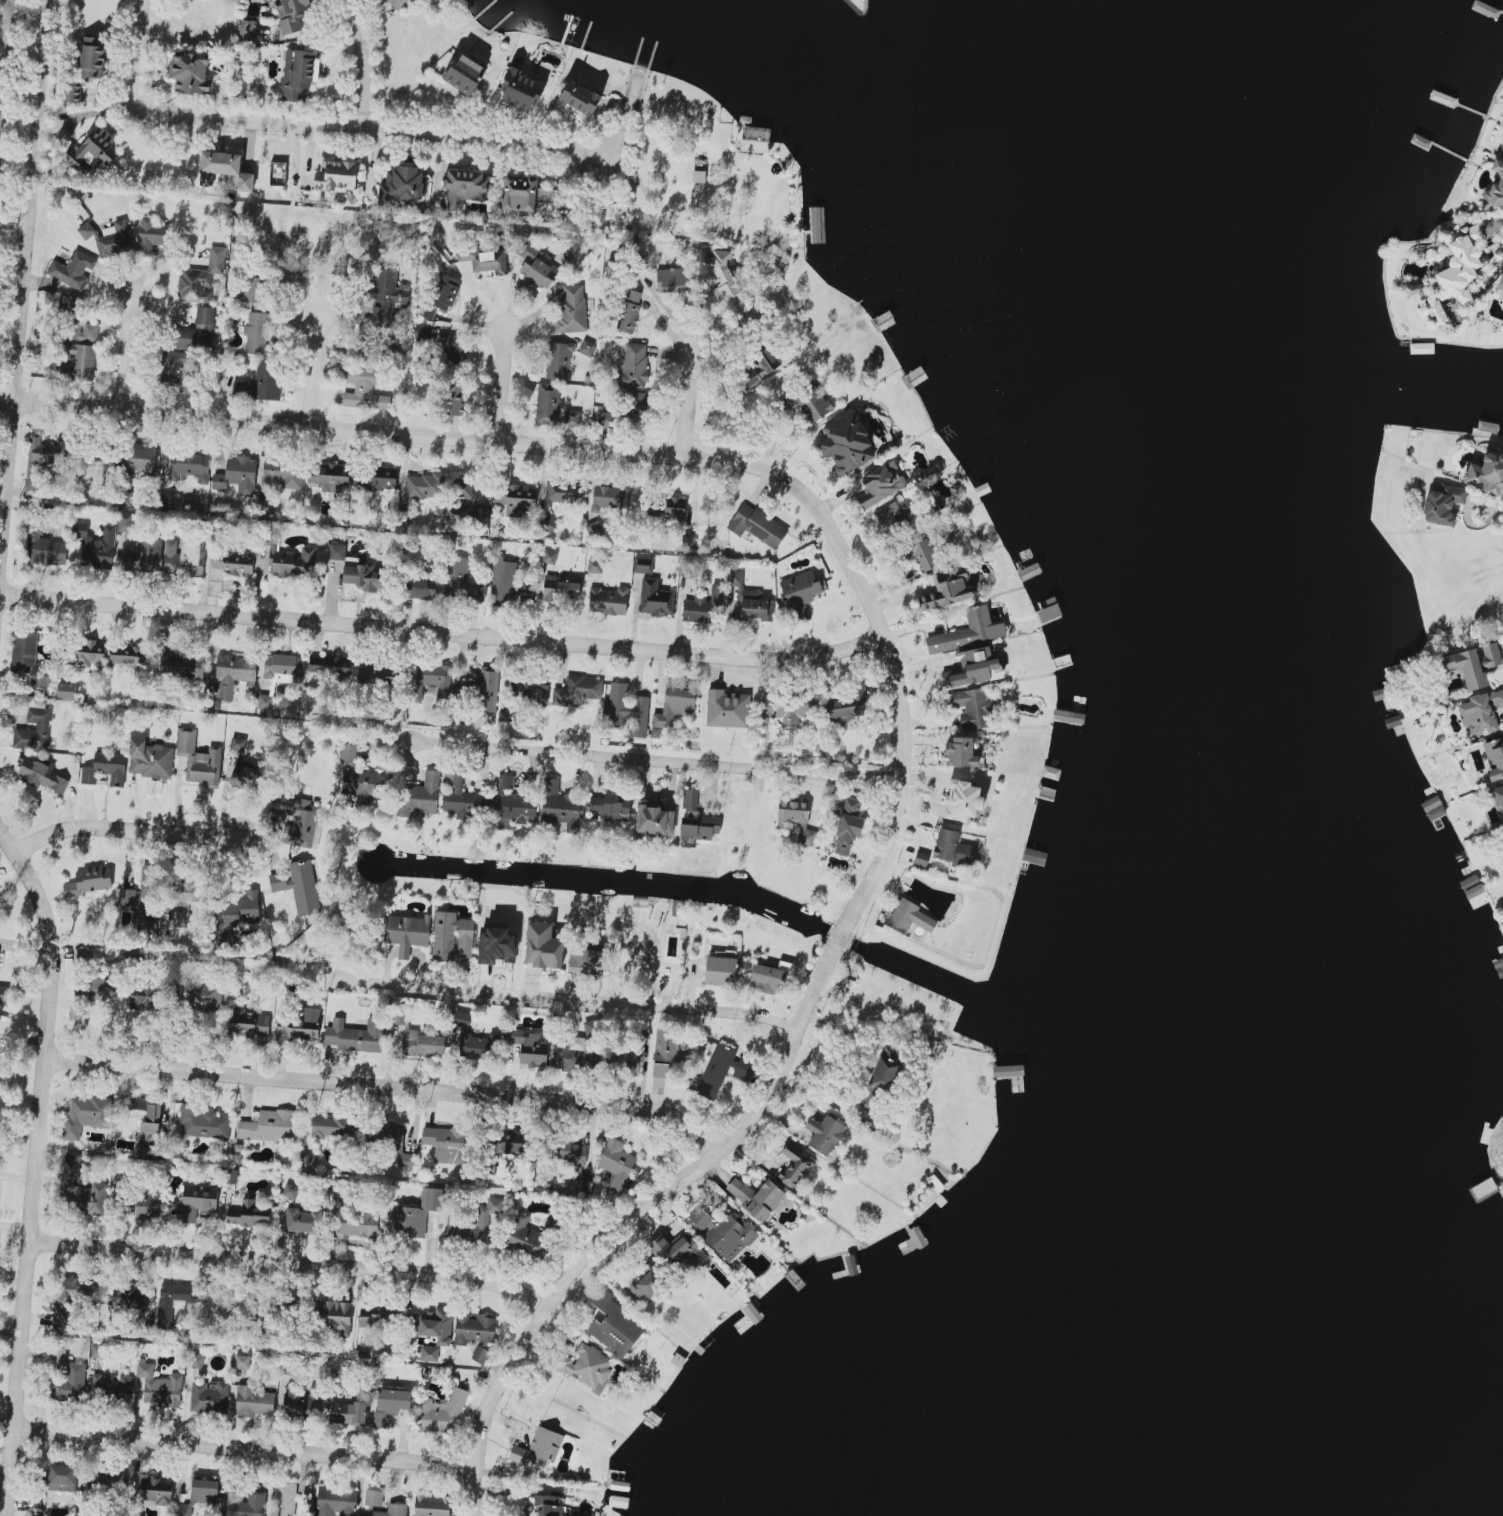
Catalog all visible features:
building: (400, 4)
building: (292, 14)
building: (247, 30)
road: (3, 44)
road: (139, 56)
building: (92, 58)
road: (363, 66)
building: (190, 72)
building: (464, 74)
building: (521, 89)
building: (73, 92)
building: (580, 97)
road: (372, 135)
building: (92, 150)
building: (1502, 152)
building: (224, 170)
building: (336, 175)
building: (403, 185)
building: (463, 187)
building: (1493, 190)
building: (523, 193)
building: (86, 230)
building: (151, 234)
building: (116, 239)
building: (484, 260)
building: (534, 265)
building: (1466, 265)
building: (72, 269)
building: (200, 278)
building: (672, 279)
road: (25, 284)
building: (729, 288)
building: (1502, 291)
building: (245, 293)
building: (441, 294)
building: (387, 296)
building: (571, 310)
building: (626, 312)
building: (198, 328)
building: (83, 332)
building: (256, 333)
building: (421, 333)
building: (449, 350)
road: (126, 354)
building: (558, 360)
building: (75, 362)
building: (634, 364)
building: (173, 370)
road: (313, 370)
building: (260, 382)
road: (500, 385)
building: (364, 389)
building: (454, 396)
road: (689, 401)
building: (806, 401)
building: (547, 403)
building: (635, 410)
building: (572, 417)
building: (606, 418)
building: (847, 443)
building: (45, 451)
road: (636, 451)
building: (138, 460)
building: (189, 465)
building: (282, 473)
building: (1487, 474)
building: (237, 475)
building: (330, 477)
building: (374, 478)
building: (880, 485)
building: (424, 486)
building: (463, 488)
building: (562, 492)
building: (611, 497)
building: (1442, 504)
building: (264, 506)
building: (666, 508)
road: (1501, 508)
building: (896, 512)
road: (1466, 515)
building: (124, 521)
building: (546, 521)
building: (757, 525)
building: (688, 540)
building: (96, 546)
building: (45, 547)
building: (336, 551)
building: (923, 555)
building: (142, 556)
building: (184, 556)
building: (549, 556)
building: (288, 560)
building: (236, 562)
building: (642, 565)
building: (594, 566)
building: (359, 575)
building: (461, 580)
building: (505, 581)
building: (420, 589)
building: (947, 589)
building: (562, 592)
building: (800, 592)
building: (655, 598)
building: (750, 598)
building: (608, 600)
building: (702, 605)
road: (442, 633)
building: (963, 633)
building: (88, 651)
building: (128, 656)
building: (28, 658)
building: (1472, 664)
building: (180, 665)
building: (329, 666)
building: (973, 667)
building: (283, 668)
building: (234, 673)
building: (432, 677)
building: (377, 678)
building: (583, 688)
building: (66, 690)
building: (531, 691)
building: (486, 692)
building: (673, 706)
building: (847, 707)
building: (970, 707)
building: (726, 709)
building: (627, 710)
building: (1480, 712)
building: (33, 731)
building: (237, 743)
building: (961, 752)
building: (149, 758)
building: (1494, 758)
building: (198, 759)
road: (657, 761)
building: (40, 773)
building: (247, 777)
building: (359, 777)
building: (505, 781)
building: (518, 782)
building: (423, 793)
building: (1497, 795)
building: (689, 799)
building: (962, 800)
building: (559, 804)
building: (610, 806)
building: (518, 807)
building: (1433, 808)
building: (654, 818)
building: (796, 819)
building: (297, 820)
building: (699, 827)
building: (848, 827)
road: (124, 829)
building: (952, 848)
building: (88, 882)
building: (299, 887)
building: (1473, 890)
building: (187, 891)
building: (127, 896)
building: (235, 916)
building: (909, 917)
building: (407, 932)
building: (451, 936)
road: (850, 937)
building: (496, 945)
building: (543, 946)
building: (85, 953)
building: (575, 960)
building: (594, 960)
building: (720, 970)
building: (770, 977)
building: (96, 988)
building: (3, 994)
building: (199, 994)
road: (572, 1004)
building: (461, 1019)
building: (298, 1023)
building: (247, 1024)
building: (357, 1035)
building: (418, 1039)
building: (477, 1045)
building: (666, 1045)
building: (529, 1046)
building: (622, 1061)
building: (744, 1067)
building: (885, 1069)
building: (660, 1070)
building: (716, 1071)
road: (394, 1096)
building: (138, 1103)
building: (82, 1116)
building: (151, 1118)
building: (202, 1122)
building: (268, 1126)
building: (331, 1126)
building: (824, 1134)
building: (390, 1141)
building: (446, 1144)
building: (510, 1145)
building: (150, 1148)
building: (573, 1160)
road: (43, 1162)
building: (616, 1163)
building: (795, 1166)
building: (231, 1176)
building: (82, 1188)
building: (290, 1191)
building: (756, 1197)
building: (196, 1201)
building: (149, 1205)
building: (247, 1213)
building: (414, 1214)
road: (632, 1219)
building: (301, 1220)
building: (358, 1222)
building: (722, 1232)
building: (526, 1238)
building: (682, 1253)
road: (293, 1268)
building: (646, 1285)
building: (128, 1299)
building: (66, 1302)
building: (166, 1307)
building: (231, 1308)
building: (331, 1316)
building: (375, 1317)
building: (432, 1325)
building: (614, 1325)
building: (473, 1328)
building: (429, 1353)
building: (480, 1354)
building: (197, 1360)
building: (241, 1361)
building: (585, 1366)
building: (70, 1383)
building: (159, 1385)
building: (115, 1388)
building: (209, 1397)
building: (253, 1401)
building: (299, 1404)
building: (390, 1405)
building: (348, 1412)
building: (441, 1412)
building: (539, 1448)
road: (245, 1452)
building: (61, 1478)
building: (111, 1481)
building: (202, 1489)
building: (156, 1490)
building: (336, 1501)
building: (284, 1503)
building: (244, 1504)
building: (381, 1505)
building: (431, 1505)
building: (549, 1505)

